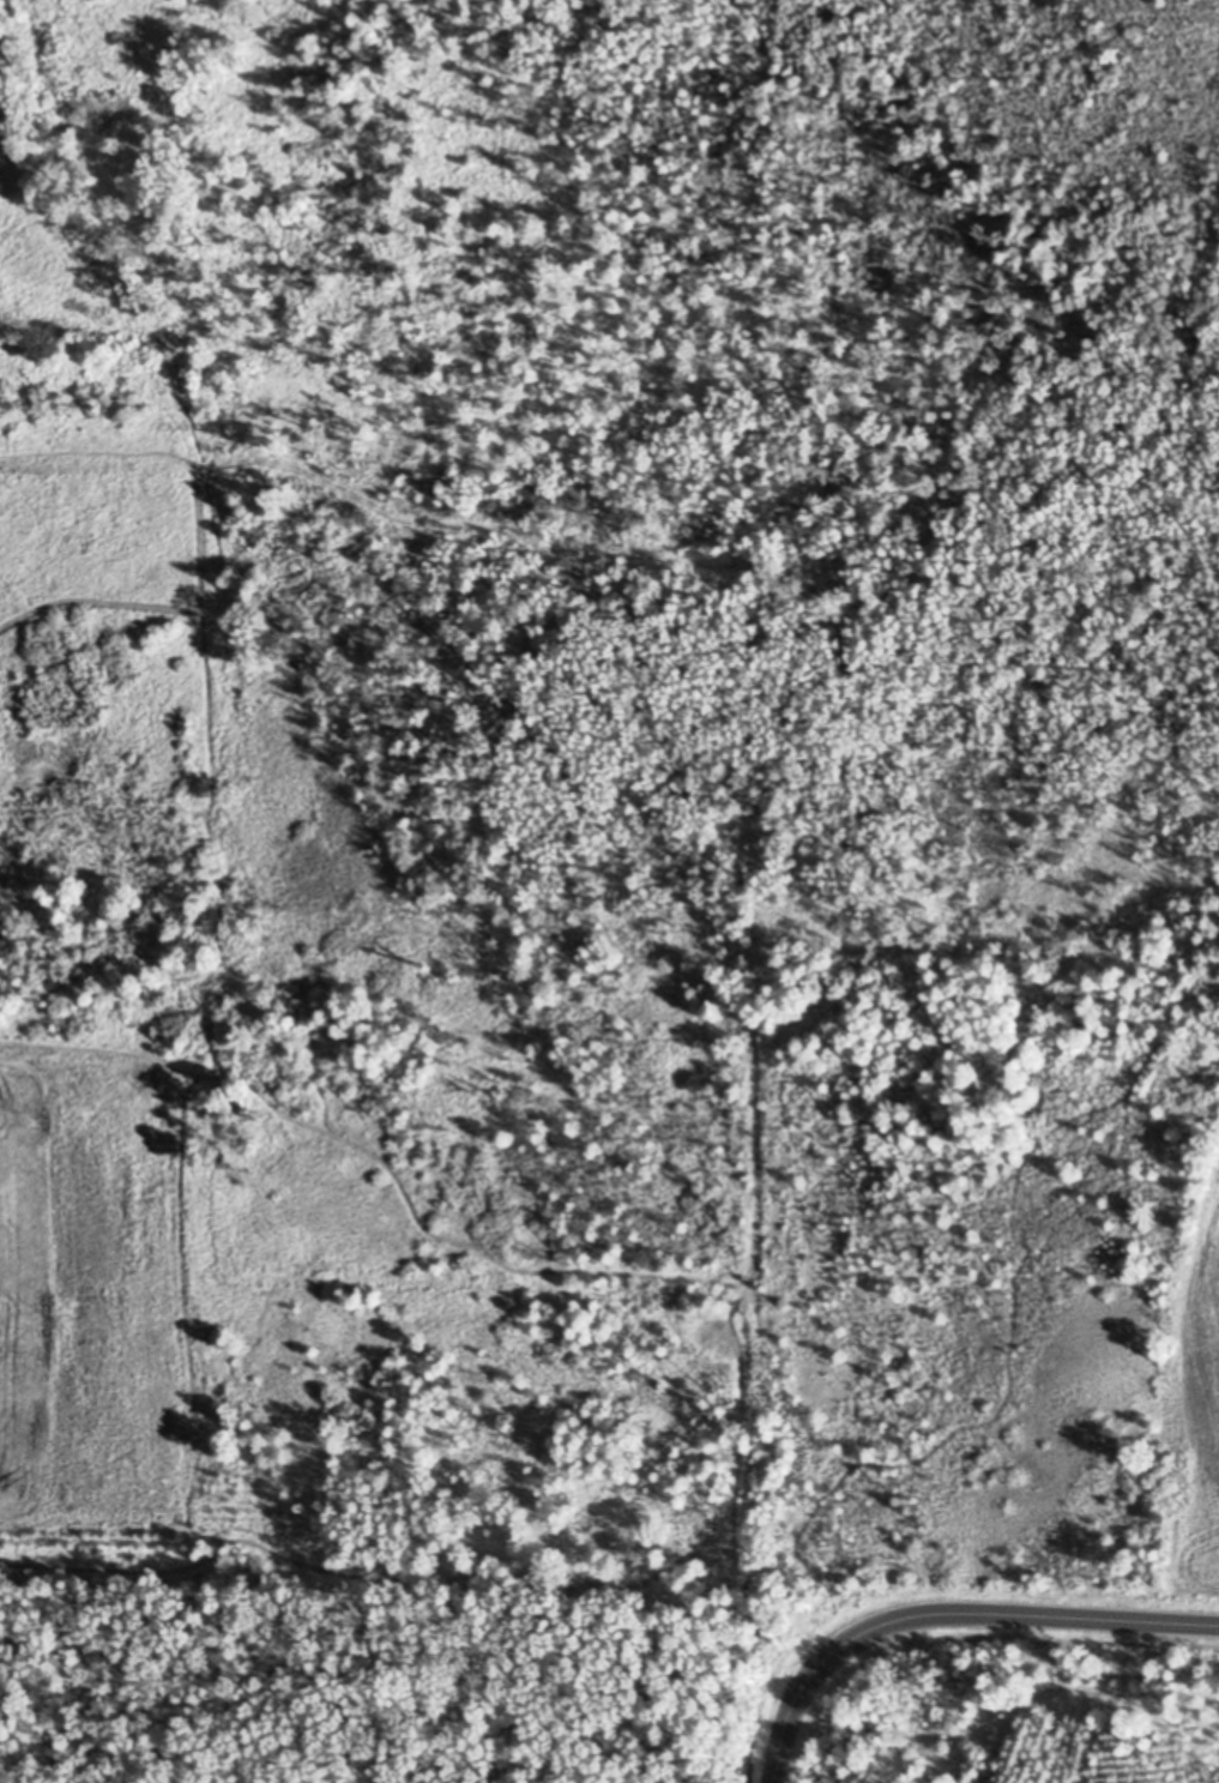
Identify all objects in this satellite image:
road: (949, 1614)

